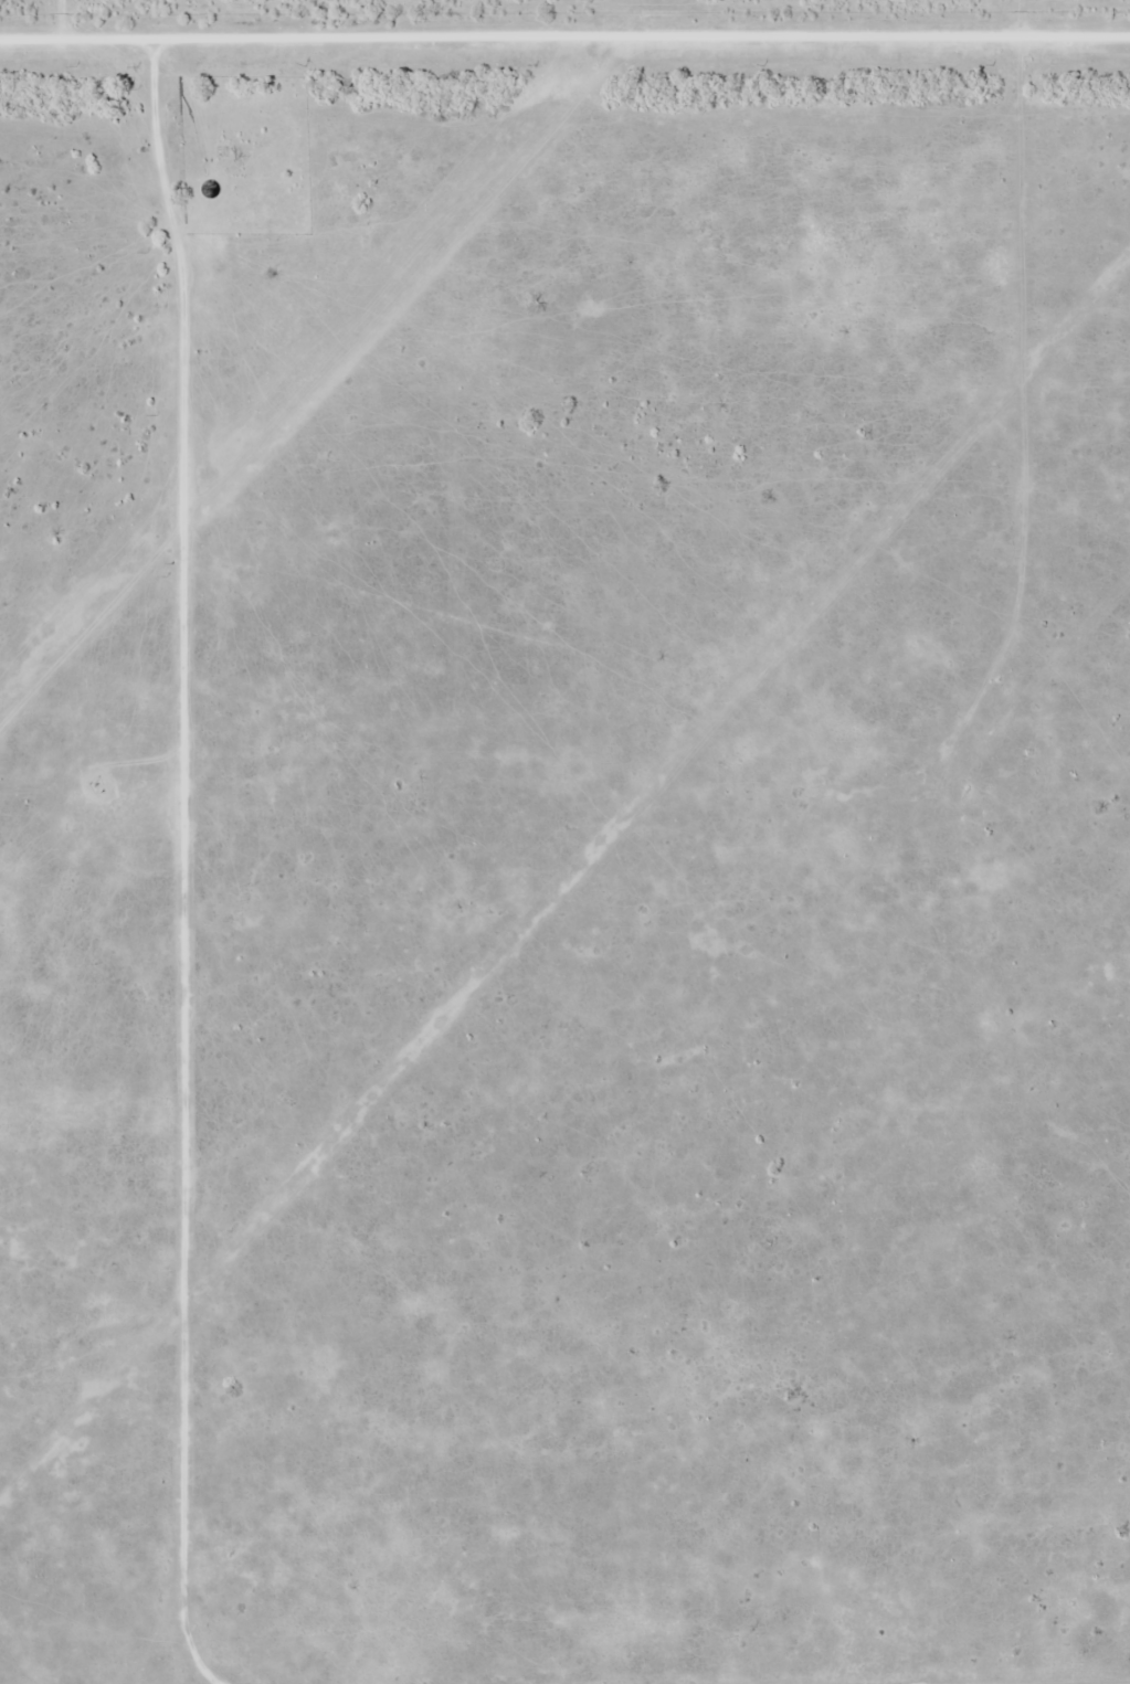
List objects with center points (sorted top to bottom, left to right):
road: (61, 21)
road: (1015, 22)
road: (564, 46)
road: (1013, 463)
road: (181, 846)

